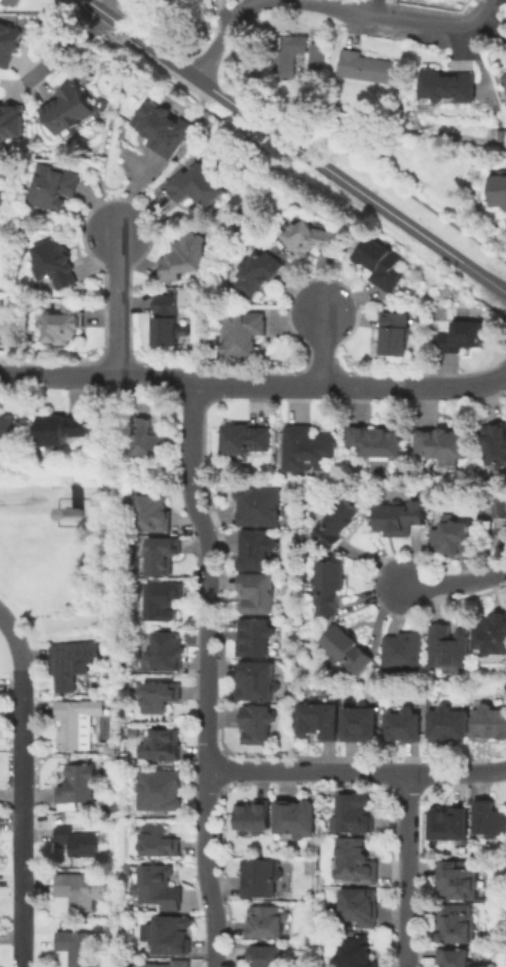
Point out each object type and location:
building: (13, 3)
road: (490, 5)
road: (93, 7)
road: (107, 7)
road: (327, 10)
building: (8, 43)
road: (63, 48)
building: (315, 55)
building: (505, 57)
building: (293, 58)
building: (369, 70)
building: (504, 79)
road: (211, 89)
building: (448, 89)
building: (68, 107)
building: (11, 122)
building: (164, 130)
building: (54, 187)
building: (201, 188)
building: (499, 192)
road: (412, 229)
building: (308, 240)
building: (185, 260)
building: (56, 265)
building: (381, 265)
building: (260, 274)
road: (118, 305)
building: (166, 323)
building: (64, 325)
building: (244, 336)
building: (395, 337)
building: (462, 339)
road: (323, 351)
road: (97, 377)
road: (350, 389)
building: (63, 429)
building: (8, 434)
road: (193, 436)
building: (151, 440)
building: (244, 441)
building: (377, 442)
building: (495, 445)
building: (445, 448)
building: (308, 450)
building: (258, 506)
building: (498, 508)
building: (95, 513)
building: (157, 513)
building: (71, 514)
building: (397, 519)
building: (336, 522)
building: (453, 538)
building: (255, 550)
building: (165, 555)
road: (452, 584)
building: (327, 587)
building: (255, 594)
building: (166, 601)
building: (490, 633)
building: (252, 637)
building: (107, 642)
building: (117, 642)
building: (447, 647)
building: (345, 650)
building: (171, 651)
building: (402, 652)
building: (73, 663)
building: (255, 682)
building: (162, 697)
building: (316, 721)
building: (80, 722)
building: (488, 723)
building: (359, 724)
road: (207, 725)
building: (255, 725)
building: (446, 725)
building: (401, 726)
building: (164, 746)
building: (114, 749)
road: (356, 772)
road: (24, 785)
building: (79, 786)
building: (162, 791)
building: (351, 813)
building: (252, 815)
building: (294, 816)
building: (488, 818)
building: (447, 822)
building: (81, 842)
building: (161, 842)
building: (354, 860)
building: (131, 869)
road: (408, 870)
building: (259, 875)
building: (456, 879)
building: (162, 887)
building: (84, 889)
building: (358, 904)
building: (265, 920)
building: (455, 923)
building: (174, 936)
building: (79, 947)
building: (353, 952)
building: (265, 955)
building: (453, 957)
building: (184, 962)

